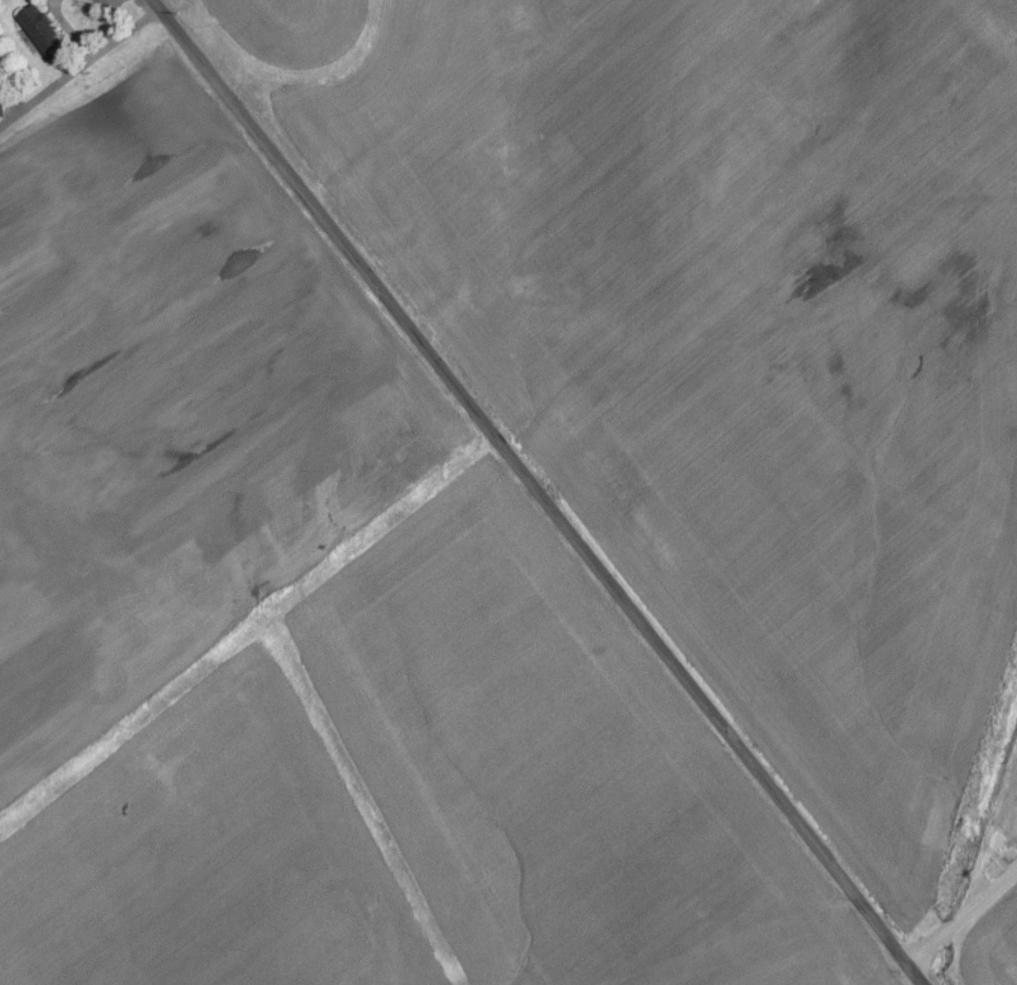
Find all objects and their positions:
road: (108, 19)
building: (42, 39)
road: (77, 67)
building: (1, 112)
road: (541, 492)
road: (967, 915)

